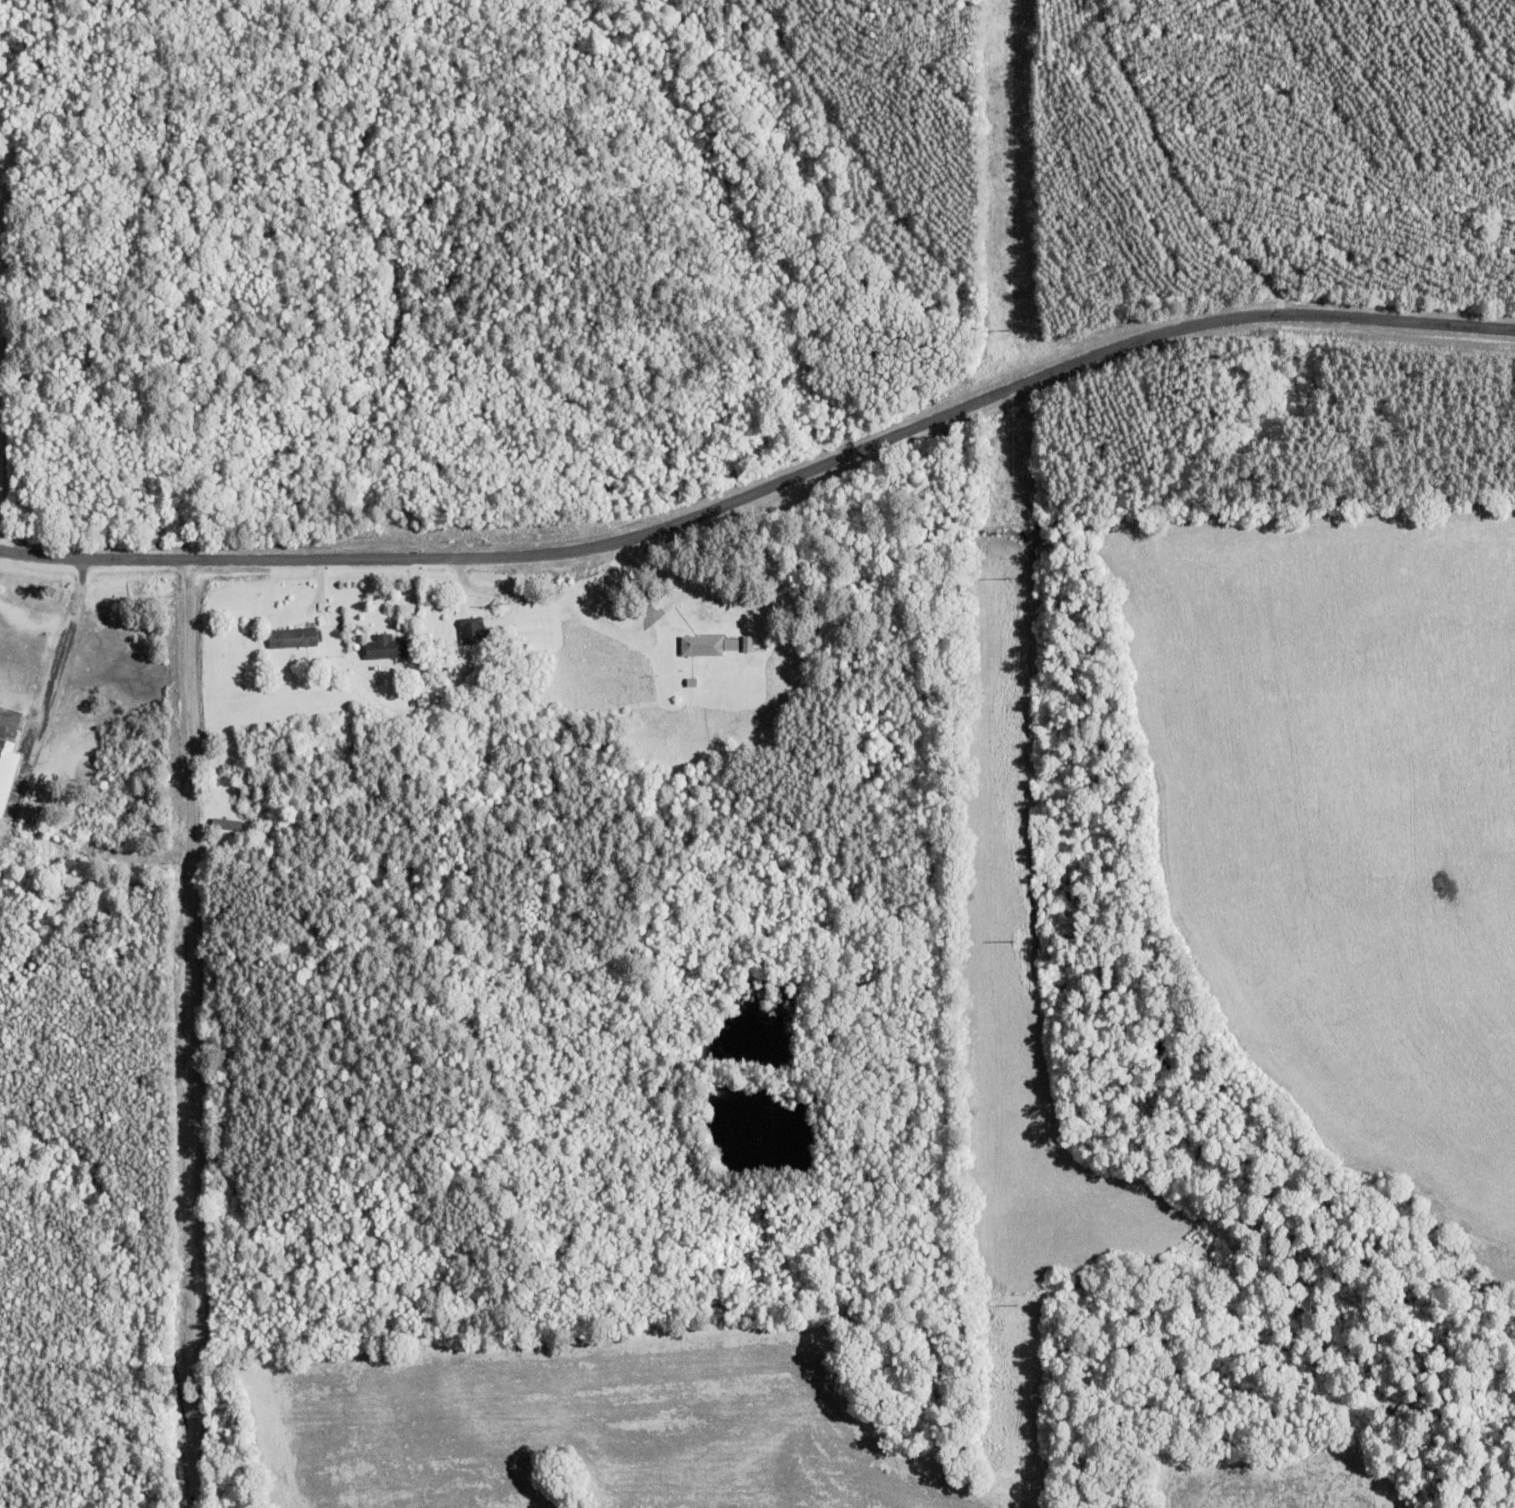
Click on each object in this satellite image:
road: (767, 485)
building: (468, 632)
building: (291, 637)
building: (704, 645)
building: (383, 647)
road: (59, 661)
building: (250, 772)
building: (7, 774)
building: (224, 824)
road: (193, 1032)

